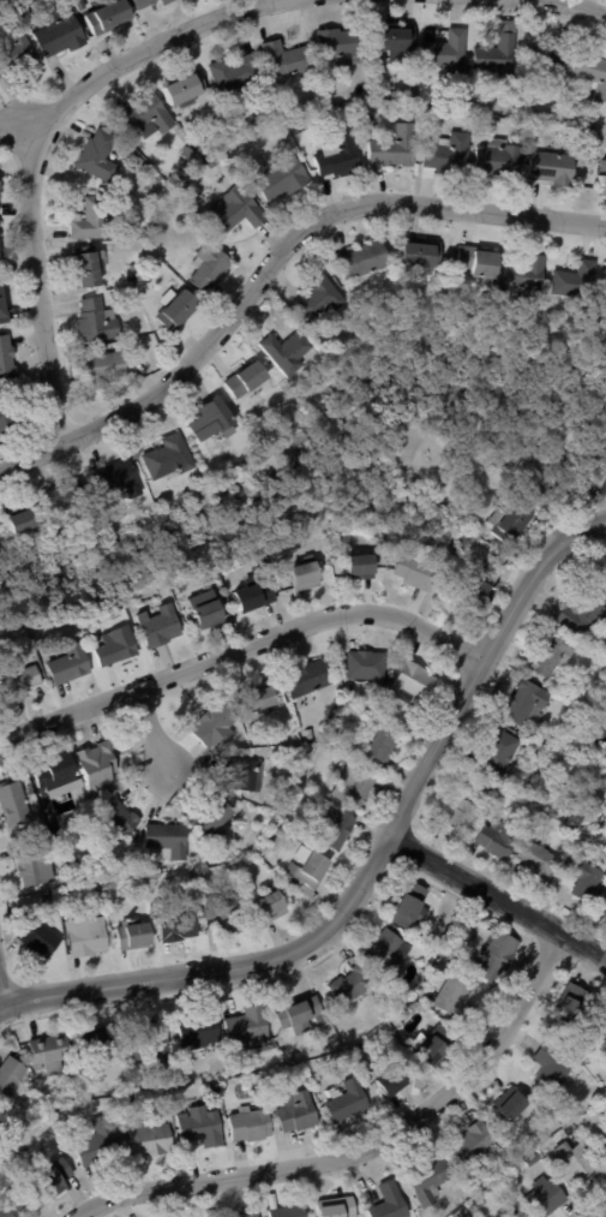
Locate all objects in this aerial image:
building: (169, 1)
building: (145, 2)
road: (572, 7)
building: (112, 17)
building: (62, 34)
building: (394, 40)
building: (342, 42)
building: (450, 52)
building: (18, 53)
building: (286, 58)
building: (500, 58)
building: (550, 60)
building: (593, 73)
building: (235, 76)
building: (182, 88)
building: (418, 94)
building: (268, 108)
building: (536, 113)
building: (419, 114)
building: (146, 115)
building: (552, 117)
building: (370, 120)
building: (593, 124)
road: (37, 144)
building: (396, 148)
building: (448, 150)
building: (188, 151)
building: (101, 156)
building: (498, 156)
building: (134, 157)
building: (341, 157)
building: (212, 160)
building: (142, 161)
building: (550, 166)
building: (146, 168)
building: (227, 172)
building: (601, 177)
building: (284, 180)
building: (239, 209)
building: (95, 219)
building: (1, 244)
building: (422, 255)
building: (364, 261)
building: (481, 261)
road: (275, 266)
building: (89, 267)
building: (211, 268)
building: (528, 273)
building: (605, 274)
building: (577, 282)
building: (319, 299)
building: (5, 305)
building: (179, 311)
building: (98, 322)
building: (488, 332)
building: (128, 344)
building: (288, 353)
building: (7, 358)
building: (104, 369)
building: (248, 380)
building: (215, 419)
building: (6, 420)
building: (169, 459)
building: (589, 463)
building: (551, 479)
building: (120, 482)
building: (64, 500)
building: (25, 520)
building: (511, 524)
building: (494, 566)
building: (360, 568)
building: (329, 571)
building: (420, 571)
building: (306, 578)
building: (186, 590)
building: (479, 590)
building: (256, 596)
building: (193, 603)
building: (119, 614)
building: (580, 615)
building: (210, 616)
building: (161, 627)
building: (116, 646)
road: (242, 649)
building: (548, 656)
building: (571, 658)
building: (365, 664)
building: (71, 667)
building: (310, 678)
building: (25, 682)
building: (418, 682)
building: (260, 698)
building: (523, 705)
building: (216, 726)
building: (594, 726)
road: (154, 729)
building: (311, 733)
building: (382, 745)
building: (352, 751)
building: (493, 754)
building: (98, 764)
building: (58, 772)
building: (246, 774)
building: (605, 774)
building: (356, 787)
building: (14, 800)
building: (455, 813)
building: (277, 816)
building: (217, 818)
building: (119, 821)
building: (600, 824)
building: (340, 829)
building: (278, 836)
building: (170, 840)
building: (494, 840)
building: (582, 845)
building: (197, 859)
building: (533, 861)
road: (371, 864)
building: (36, 865)
building: (83, 869)
building: (310, 872)
building: (580, 876)
building: (157, 881)
road: (498, 896)
building: (604, 906)
building: (271, 907)
building: (413, 907)
building: (223, 911)
building: (55, 915)
building: (180, 927)
building: (134, 935)
building: (89, 936)
building: (41, 937)
building: (386, 948)
building: (457, 950)
building: (492, 951)
building: (433, 956)
building: (353, 985)
building: (455, 997)
road: (0, 1002)
building: (570, 1004)
building: (301, 1014)
building: (604, 1024)
building: (250, 1028)
building: (198, 1031)
building: (432, 1042)
building: (103, 1043)
building: (152, 1045)
building: (274, 1045)
building: (311, 1046)
building: (360, 1046)
building: (50, 1050)
building: (553, 1067)
building: (11, 1078)
building: (394, 1079)
building: (349, 1102)
building: (512, 1105)
building: (299, 1112)
building: (251, 1124)
building: (65, 1127)
building: (204, 1128)
building: (571, 1131)
building: (151, 1140)
road: (373, 1143)
building: (100, 1145)
building: (476, 1145)
building: (604, 1145)
building: (534, 1159)
building: (576, 1162)
building: (11, 1164)
building: (53, 1180)
building: (432, 1182)
building: (480, 1185)
building: (544, 1194)
building: (14, 1203)
building: (391, 1203)
building: (337, 1206)
building: (287, 1209)
building: (466, 1211)
road: (88, 1212)
building: (253, 1213)
building: (517, 1213)
building: (458, 1215)
building: (508, 1216)
road: (605, 1216)

